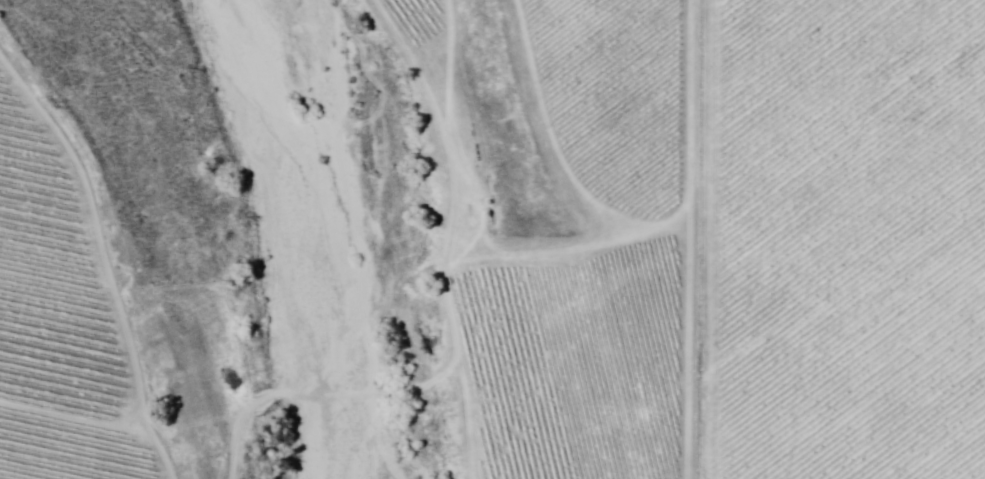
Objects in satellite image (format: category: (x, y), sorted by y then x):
river: (301, 236)

